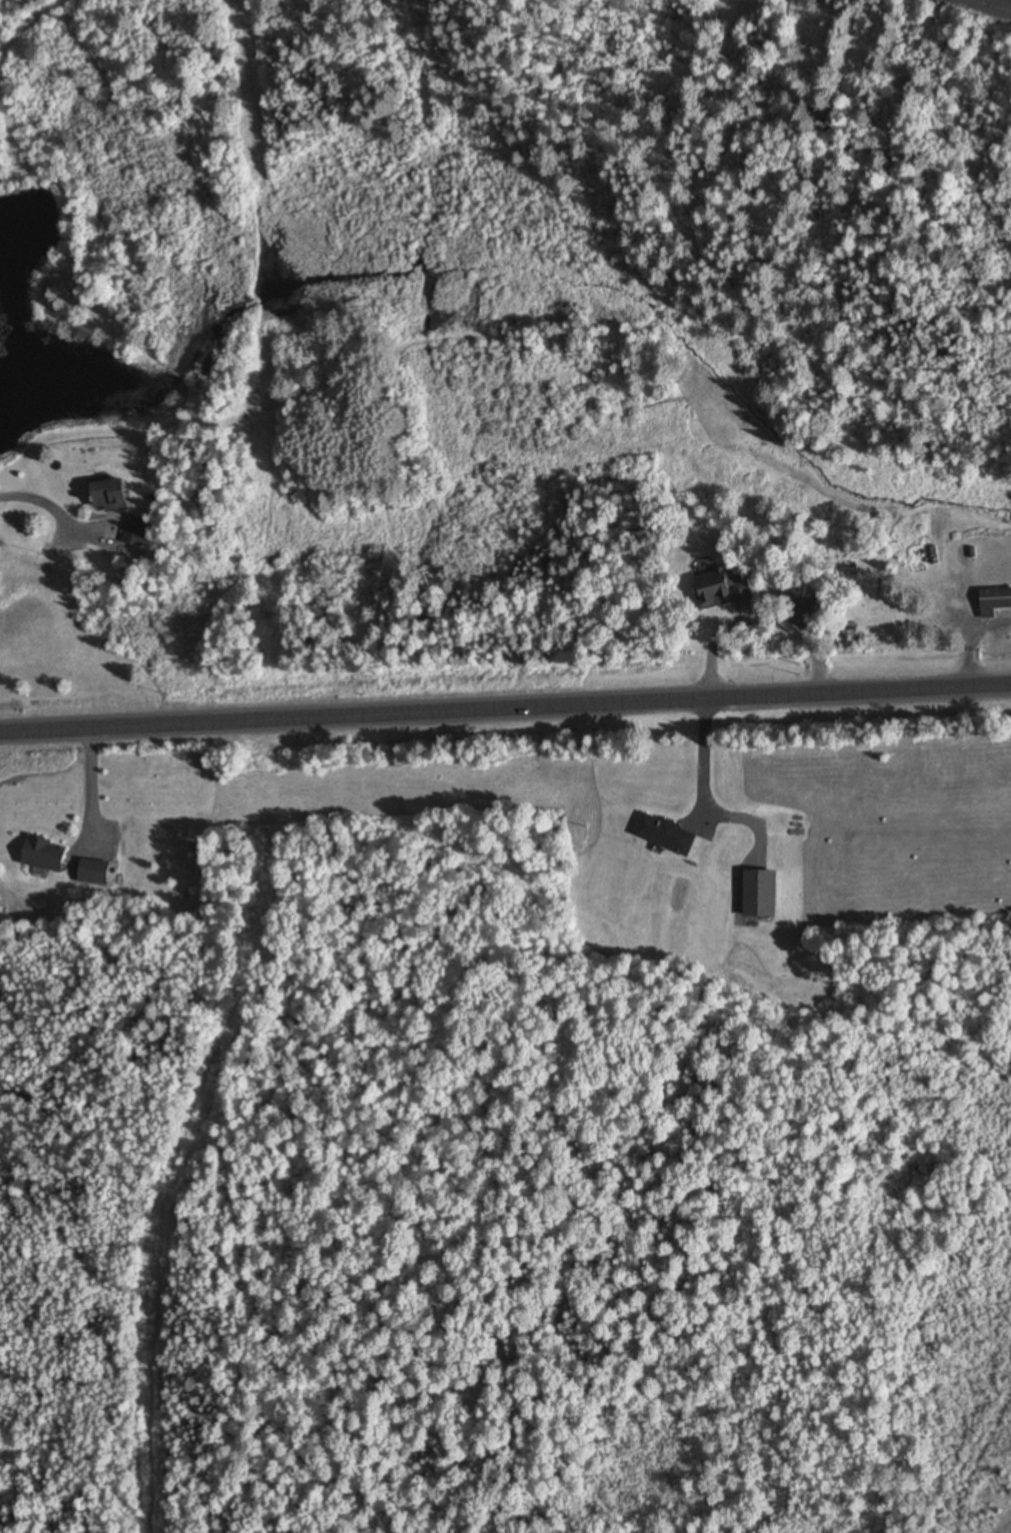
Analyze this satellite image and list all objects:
railway: (989, 6)
building: (119, 497)
building: (140, 533)
building: (731, 591)
building: (996, 603)
road: (505, 708)
building: (662, 834)
building: (51, 855)
building: (98, 872)
building: (756, 893)

